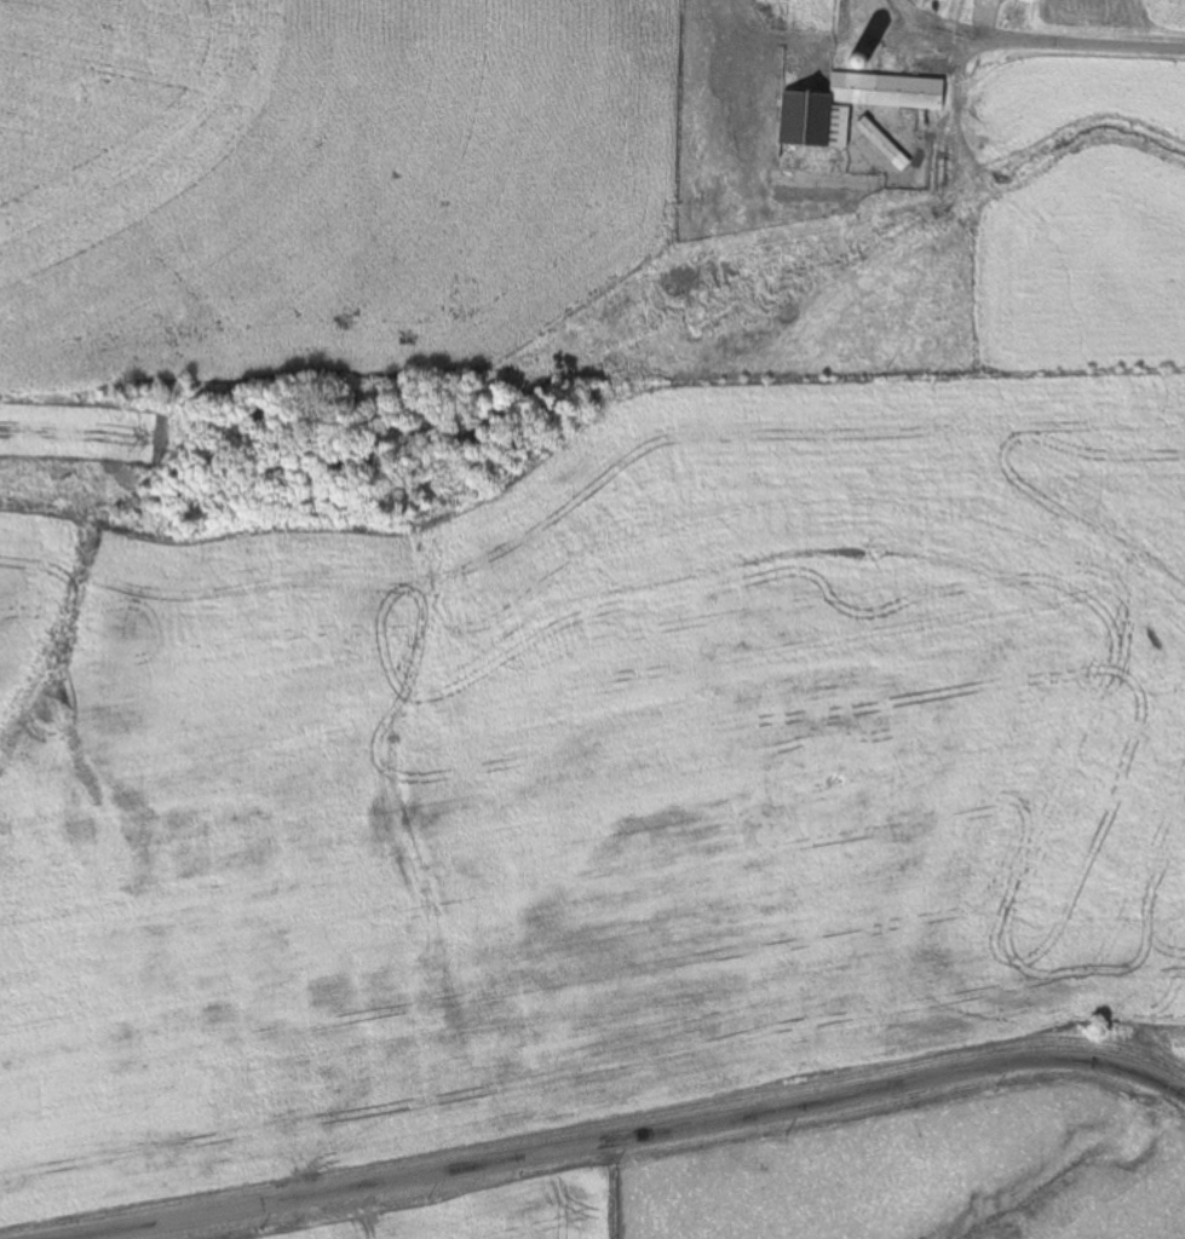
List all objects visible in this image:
road: (1030, 42)
building: (859, 63)
building: (815, 108)
building: (881, 144)
road: (643, 1137)

